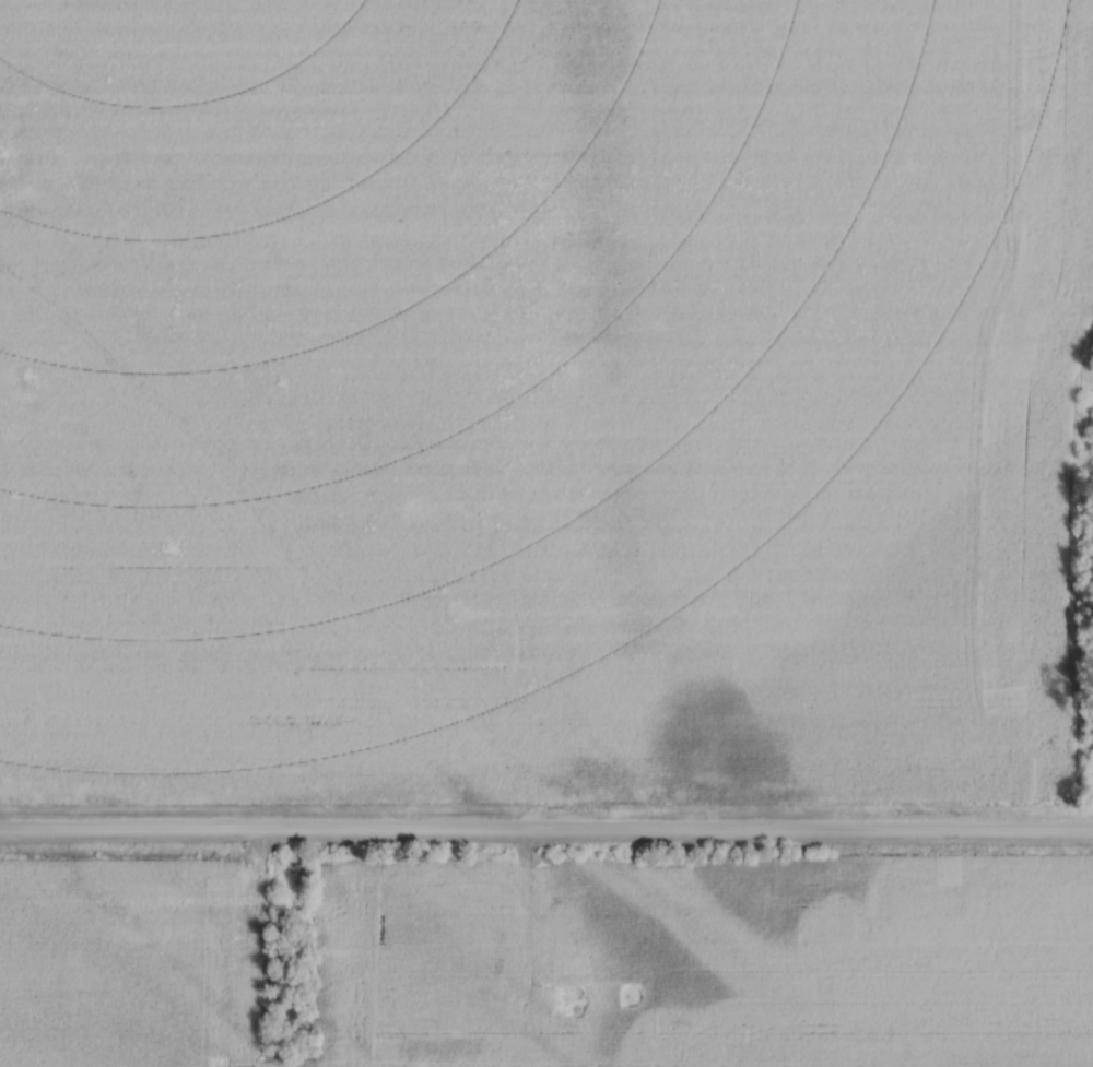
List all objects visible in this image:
road: (546, 837)
building: (635, 993)

